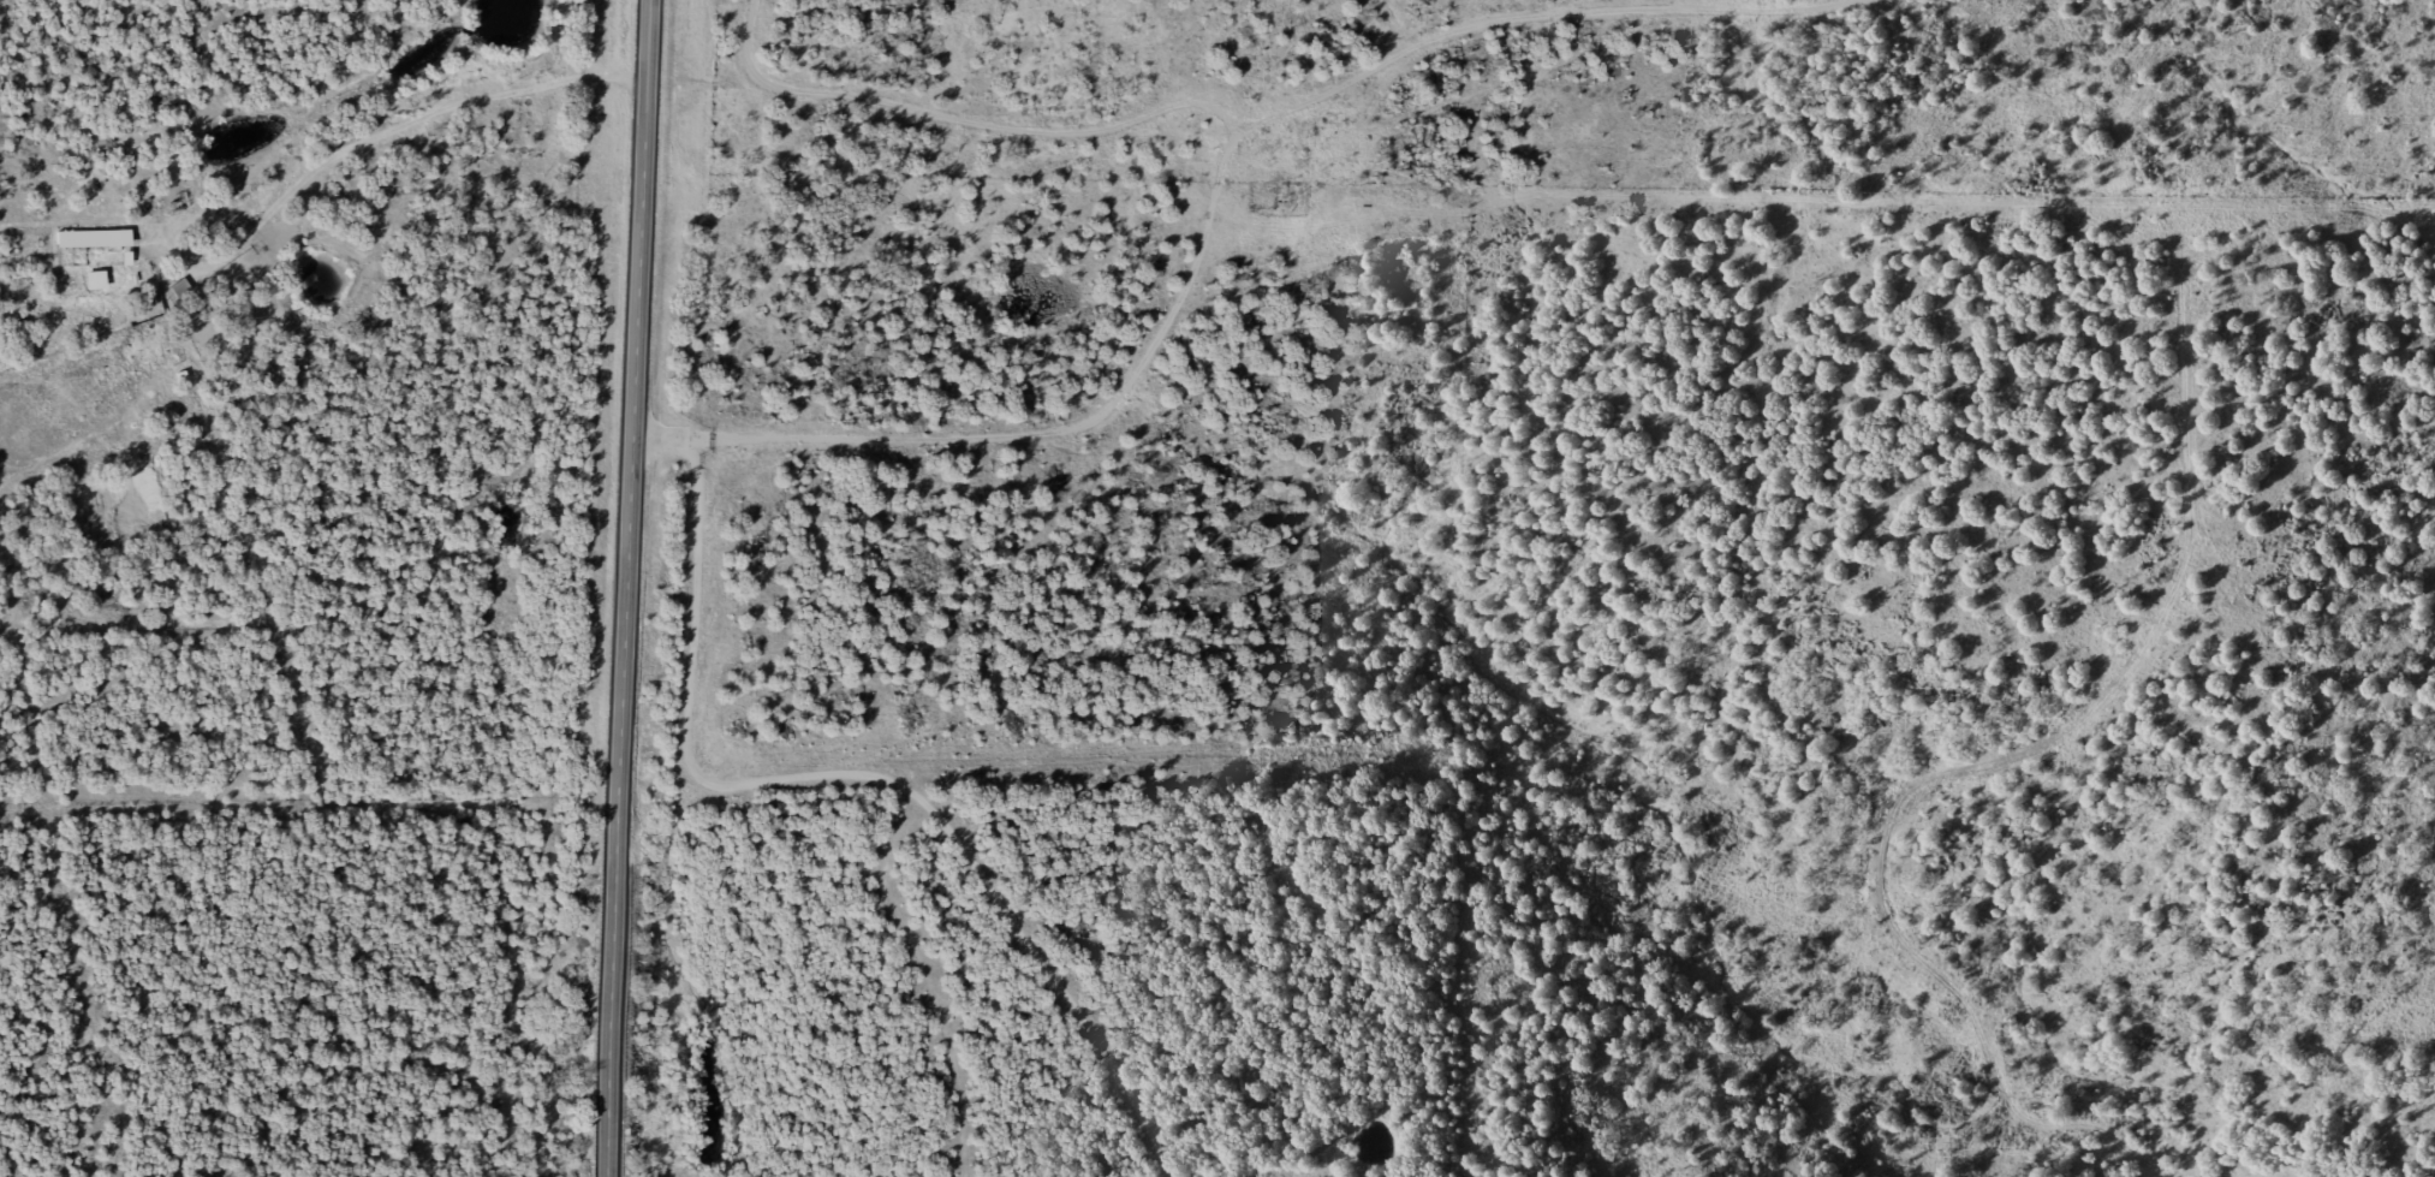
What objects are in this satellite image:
building: (93, 238)
building: (95, 279)
road: (243, 281)
building: (179, 287)
road: (624, 588)

